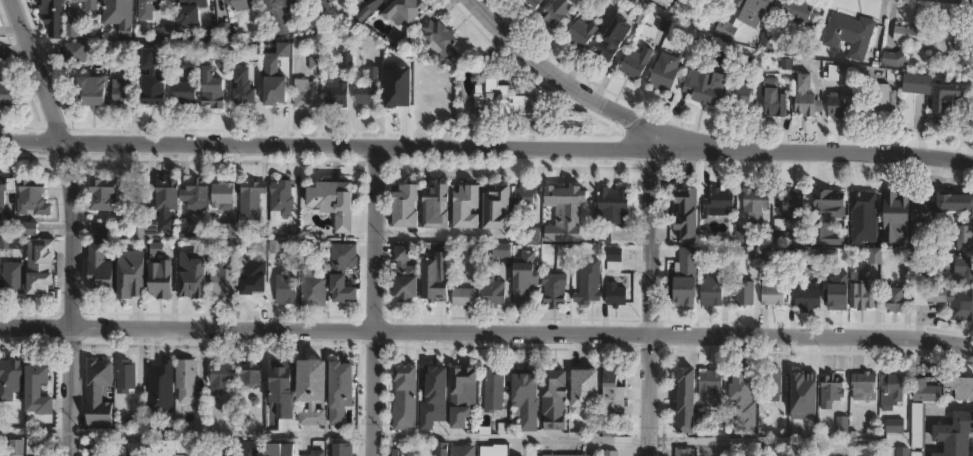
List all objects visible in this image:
building: (84, 1)
building: (234, 1)
building: (658, 1)
building: (720, 1)
building: (533, 2)
building: (48, 3)
building: (118, 4)
building: (320, 4)
building: (405, 8)
building: (152, 10)
building: (558, 10)
building: (368, 11)
building: (281, 13)
building: (192, 14)
building: (743, 16)
building: (798, 18)
building: (65, 26)
building: (217, 30)
building: (163, 31)
building: (581, 32)
building: (850, 34)
building: (441, 36)
building: (927, 42)
building: (609, 43)
building: (0, 49)
building: (76, 51)
building: (346, 58)
building: (894, 58)
building: (636, 61)
building: (665, 72)
building: (834, 74)
building: (154, 80)
building: (219, 85)
road: (575, 85)
building: (704, 85)
building: (189, 86)
building: (91, 89)
building: (122, 89)
building: (247, 89)
building: (368, 90)
building: (5, 91)
building: (335, 91)
building: (277, 92)
building: (743, 92)
building: (305, 93)
building: (914, 93)
building: (431, 95)
building: (805, 96)
building: (495, 98)
building: (952, 101)
building: (880, 103)
building: (779, 104)
building: (840, 106)
road: (486, 144)
building: (5, 187)
building: (102, 194)
building: (195, 195)
building: (525, 195)
building: (31, 197)
building: (331, 197)
building: (222, 198)
building: (252, 198)
building: (281, 200)
building: (955, 202)
building: (719, 203)
building: (756, 203)
building: (848, 203)
building: (571, 204)
building: (405, 206)
building: (436, 206)
building: (613, 206)
building: (466, 207)
building: (494, 208)
building: (791, 208)
building: (926, 208)
building: (161, 212)
building: (895, 213)
building: (684, 214)
road: (72, 220)
building: (28, 228)
building: (103, 230)
building: (229, 230)
building: (534, 234)
building: (960, 234)
building: (605, 235)
building: (822, 237)
building: (783, 238)
building: (276, 247)
building: (157, 249)
building: (501, 251)
building: (799, 255)
building: (876, 256)
building: (614, 260)
building: (40, 265)
building: (963, 269)
building: (99, 270)
building: (343, 270)
building: (192, 272)
building: (135, 274)
building: (405, 276)
building: (12, 277)
building: (523, 277)
building: (932, 278)
building: (160, 279)
building: (223, 281)
building: (250, 284)
building: (681, 287)
building: (315, 288)
building: (285, 289)
building: (554, 289)
building: (492, 292)
building: (711, 293)
building: (774, 293)
building: (615, 294)
building: (743, 294)
building: (584, 295)
building: (863, 296)
building: (807, 297)
building: (898, 298)
road: (371, 299)
building: (461, 300)
road: (651, 300)
building: (948, 301)
road: (486, 332)
building: (250, 374)
building: (155, 375)
building: (7, 377)
building: (125, 377)
building: (280, 377)
building: (220, 378)
building: (311, 379)
building: (186, 382)
building: (772, 385)
building: (742, 386)
building: (711, 387)
building: (865, 387)
building: (802, 388)
building: (960, 388)
building: (37, 389)
building: (893, 389)
building: (493, 390)
building: (830, 390)
building: (926, 390)
building: (463, 391)
building: (400, 392)
building: (98, 393)
building: (579, 394)
building: (433, 397)
building: (684, 397)
building: (522, 398)
building: (550, 400)
building: (613, 403)
building: (289, 417)
building: (784, 418)
building: (813, 420)
building: (916, 425)
building: (896, 426)
building: (842, 427)
road: (184, 433)
building: (952, 434)
road: (510, 437)
building: (15, 447)
building: (340, 448)
building: (161, 449)
building: (250, 449)
building: (441, 449)
building: (462, 449)
building: (280, 450)
building: (395, 451)
building: (225, 452)
building: (683, 452)
building: (867, 452)
building: (316, 453)
building: (610, 453)
building: (95, 454)
building: (501, 454)
building: (915, 454)
building: (560, 455)

